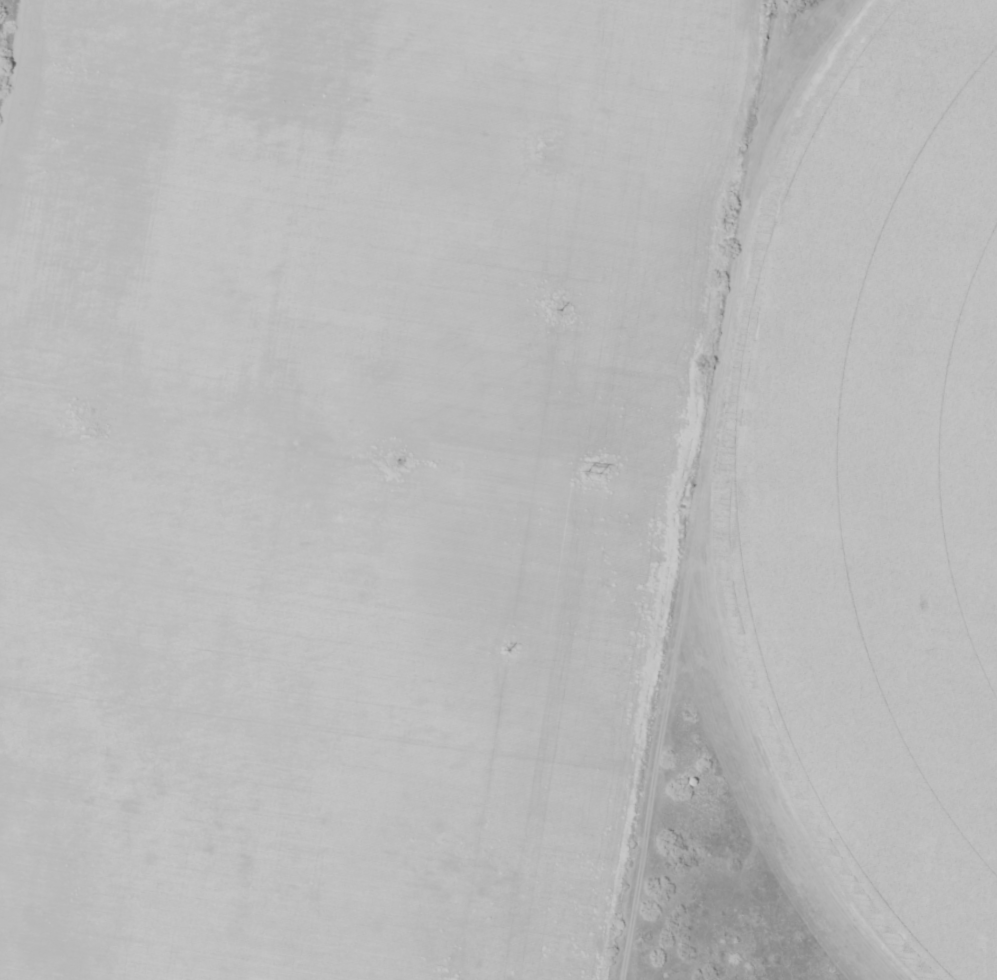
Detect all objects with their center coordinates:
power tower: (592, 472)
road: (680, 490)

